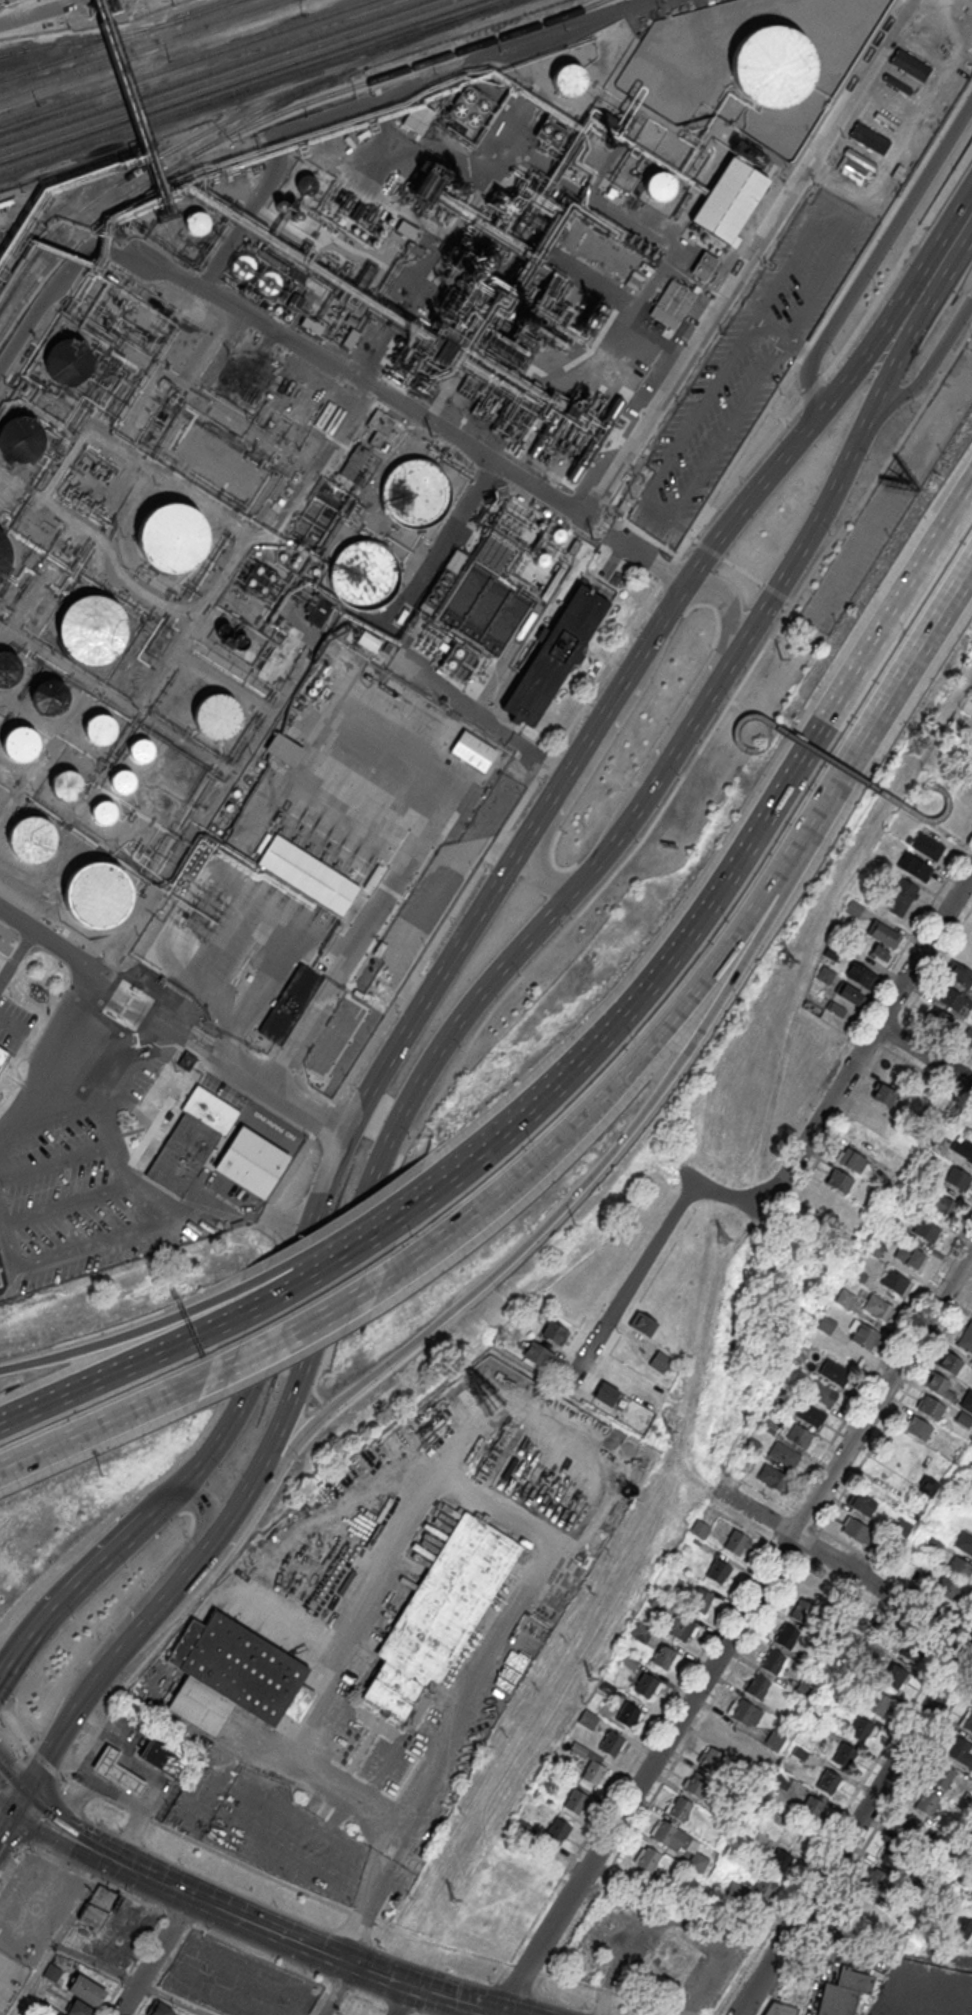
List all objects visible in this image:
building: (950, 9)
railway: (91, 37)
railway: (116, 39)
railway: (470, 47)
railway: (143, 48)
railway: (12, 51)
railway: (181, 61)
building: (910, 65)
building: (773, 66)
storage tank: (773, 66)
railway: (210, 71)
railway: (223, 75)
building: (569, 79)
storage tank: (569, 79)
railway: (239, 81)
railway: (255, 86)
building: (470, 105)
railway: (221, 122)
building: (550, 131)
building: (869, 136)
road: (837, 179)
building: (305, 184)
storage tank: (305, 184)
building: (657, 184)
storage tank: (657, 184)
railway: (139, 186)
railway: (96, 195)
building: (728, 198)
building: (389, 220)
building: (196, 223)
storage tank: (196, 223)
building: (407, 229)
building: (61, 239)
power tower: (118, 240)
road: (874, 251)
road: (747, 260)
building: (703, 265)
building: (242, 266)
storage tank: (242, 266)
building: (269, 281)
storage tank: (269, 281)
road: (925, 285)
building: (675, 299)
building: (310, 325)
building: (349, 337)
road: (783, 338)
building: (67, 359)
storage tank: (67, 359)
road: (927, 368)
road: (744, 403)
road: (411, 414)
building: (379, 423)
building: (20, 437)
storage tank: (20, 437)
power tower: (425, 437)
building: (353, 462)
building: (414, 492)
storage tank: (414, 492)
building: (170, 536)
storage tank: (170, 536)
power tower: (593, 539)
building: (3, 553)
storage tank: (3, 553)
building: (366, 574)
storage tank: (366, 574)
building: (319, 611)
building: (91, 628)
storage tank: (91, 628)
building: (552, 656)
power tower: (781, 656)
building: (8, 667)
storage tank: (8, 667)
building: (49, 697)
storage tank: (49, 697)
road: (689, 698)
road: (747, 708)
building: (214, 715)
storage tank: (214, 715)
road: (491, 723)
road: (875, 726)
building: (97, 729)
storage tank: (97, 729)
building: (18, 743)
storage tank: (18, 743)
road: (806, 746)
power tower: (916, 747)
building: (284, 749)
building: (141, 750)
storage tank: (141, 750)
building: (471, 750)
road: (588, 766)
building: (970, 768)
road: (841, 772)
building: (121, 780)
storage tank: (121, 780)
building: (65, 784)
storage tank: (65, 784)
building: (104, 811)
storage tank: (104, 811)
road: (943, 831)
building: (30, 838)
storage tank: (30, 838)
building: (929, 845)
building: (917, 866)
building: (306, 874)
building: (96, 894)
storage tank: (96, 894)
building: (903, 897)
road: (761, 903)
road: (563, 907)
building: (855, 908)
road: (475, 917)
building: (885, 933)
power tower: (791, 961)
building: (861, 974)
building: (958, 976)
building: (849, 993)
building: (289, 1004)
building: (939, 1019)
road: (171, 1022)
building: (966, 1037)
road: (867, 1040)
road: (925, 1053)
road: (54, 1056)
building: (187, 1060)
road: (619, 1078)
building: (885, 1094)
road: (518, 1113)
building: (971, 1135)
road: (111, 1138)
building: (191, 1138)
building: (963, 1150)
building: (851, 1159)
building: (251, 1161)
road: (57, 1162)
building: (958, 1179)
building: (839, 1180)
road: (722, 1193)
road: (69, 1204)
road: (564, 1205)
building: (941, 1205)
road: (261, 1225)
building: (927, 1231)
road: (8, 1240)
power tower: (723, 1242)
road: (92, 1246)
road: (430, 1246)
building: (873, 1247)
building: (909, 1256)
road: (306, 1257)
road: (317, 1258)
road: (840, 1272)
building: (0, 1282)
building: (896, 1284)
building: (0, 1285)
road: (624, 1292)
building: (845, 1299)
building: (876, 1308)
road: (252, 1322)
building: (642, 1322)
building: (825, 1325)
road: (295, 1328)
building: (555, 1332)
building: (863, 1336)
building: (966, 1338)
road: (106, 1339)
building: (538, 1355)
road: (115, 1357)
building: (661, 1361)
building: (949, 1362)
building: (833, 1372)
building: (939, 1385)
building: (606, 1392)
building: (822, 1393)
building: (967, 1401)
building: (930, 1407)
building: (809, 1413)
building: (773, 1422)
road: (103, 1423)
building: (918, 1428)
power tower: (669, 1432)
building: (798, 1435)
building: (783, 1454)
road: (431, 1472)
building: (771, 1476)
building: (927, 1487)
building: (862, 1504)
road: (114, 1514)
road: (927, 1519)
building: (700, 1528)
road: (223, 1529)
building: (860, 1532)
building: (736, 1542)
building: (964, 1542)
road: (840, 1565)
building: (960, 1568)
building: (719, 1571)
building: (816, 1585)
building: (947, 1588)
road: (70, 1594)
road: (148, 1594)
building: (700, 1599)
building: (800, 1610)
building: (438, 1613)
building: (681, 1628)
road: (735, 1628)
building: (641, 1632)
building: (786, 1636)
building: (911, 1647)
building: (664, 1657)
building: (772, 1661)
building: (894, 1675)
building: (236, 1676)
power tower: (590, 1681)
building: (647, 1685)
building: (756, 1685)
road: (99, 1686)
building: (877, 1702)
building: (744, 1712)
building: (628, 1714)
building: (587, 1718)
building: (967, 1720)
building: (861, 1729)
building: (727, 1735)
building: (775, 1739)
building: (611, 1743)
building: (960, 1752)
building: (844, 1755)
building: (168, 1756)
building: (710, 1759)
building: (591, 1765)
road: (16, 1768)
building: (116, 1770)
road: (150, 1775)
building: (942, 1775)
road: (92, 1780)
building: (781, 1780)
building: (828, 1781)
traffic signals: (34, 1784)
building: (696, 1784)
road: (119, 1796)
road: (25, 1801)
building: (575, 1801)
building: (926, 1802)
building: (813, 1807)
building: (679, 1808)
road: (8, 1810)
road: (59, 1812)
traffic signals: (17, 1818)
road: (855, 1826)
road: (49, 1829)
building: (910, 1829)
building: (558, 1830)
road: (8, 1831)
building: (429, 1831)
parking lot: (286, 1838)
building: (679, 1843)
road: (213, 1850)
road: (376, 1855)
building: (895, 1855)
building: (647, 1860)
building: (780, 1862)
road: (395, 1864)
road: (11, 1865)
building: (877, 1881)
building: (764, 1889)
power tower: (450, 1900)
road: (369, 1901)
building: (970, 1901)
building: (98, 1907)
building: (27, 1909)
road: (675, 1922)
building: (962, 1927)
road: (352, 1938)
road: (293, 1939)
road: (154, 1955)
road: (95, 1961)
road: (524, 1968)
building: (53, 1973)
parking lot: (236, 1980)
road: (338, 1989)
building: (88, 1991)
building: (844, 1991)
road: (404, 1999)
building: (3, 2007)
building: (78, 2009)
building: (159, 2009)
building: (781, 2009)

